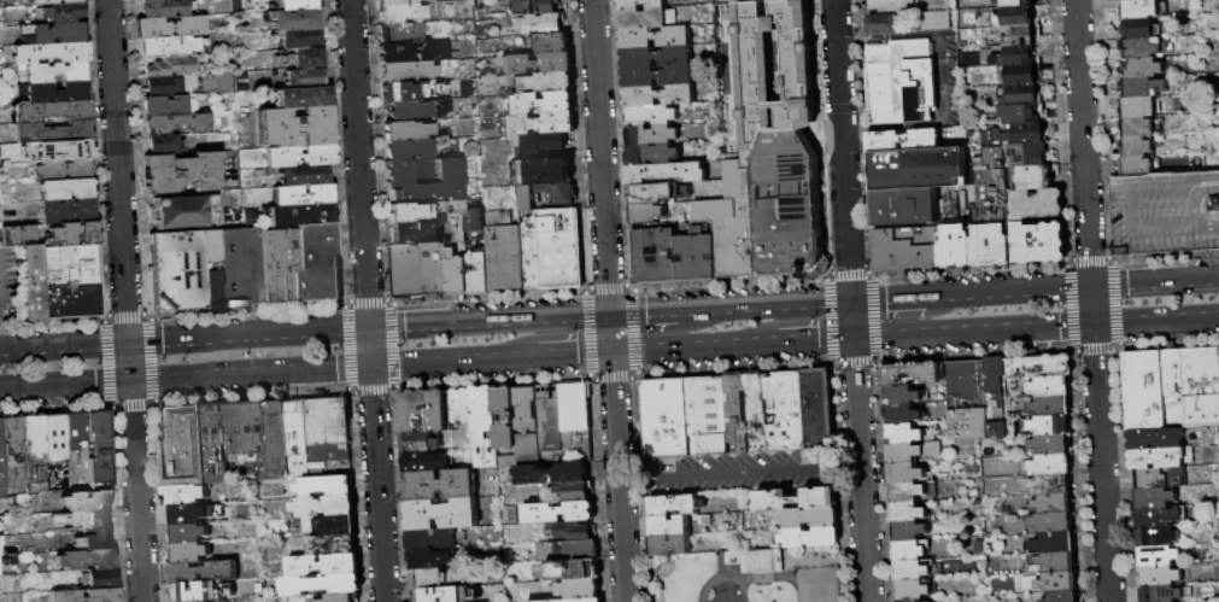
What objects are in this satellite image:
building: (758, 0)
building: (1136, 0)
building: (54, 1)
building: (428, 1)
building: (394, 2)
building: (1012, 2)
building: (640, 4)
building: (295, 5)
building: (890, 6)
building: (164, 7)
building: (532, 7)
building: (1142, 10)
building: (64, 12)
building: (400, 13)
building: (1016, 17)
building: (649, 18)
building: (293, 19)
building: (937, 22)
building: (539, 24)
building: (884, 25)
building: (169, 27)
building: (1147, 29)
building: (55, 33)
building: (400, 33)
building: (1015, 36)
building: (298, 37)
building: (655, 37)
road: (887, 39)
building: (549, 43)
building: (168, 46)
building: (1144, 49)
building: (412, 52)
building: (47, 55)
building: (300, 58)
building: (656, 58)
building: (1014, 58)
building: (537, 64)
building: (169, 66)
building: (770, 68)
building: (1144, 69)
building: (406, 71)
building: (57, 72)
building: (1020, 76)
building: (657, 77)
building: (305, 78)
road: (942, 78)
building: (901, 82)
building: (546, 83)
building: (169, 84)
building: (1144, 88)
building: (58, 92)
building: (409, 92)
building: (1018, 95)
building: (303, 97)
building: (660, 97)
building: (538, 104)
building: (164, 105)
building: (1138, 107)
building: (418, 110)
building: (54, 112)
building: (1022, 115)
building: (651, 116)
building: (175, 124)
building: (537, 124)
building: (294, 127)
building: (1138, 128)
building: (405, 130)
building: (53, 131)
building: (1015, 135)
building: (654, 136)
building: (902, 141)
building: (538, 144)
road: (1082, 144)
building: (163, 145)
building: (1137, 147)
building: (2, 150)
building: (65, 150)
building: (408, 150)
building: (299, 156)
building: (652, 156)
building: (1028, 156)
road: (359, 164)
building: (1138, 166)
building: (65, 170)
building: (919, 170)
road: (117, 171)
building: (181, 173)
building: (539, 173)
building: (299, 174)
building: (666, 174)
building: (424, 179)
building: (1035, 179)
building: (68, 188)
building: (303, 194)
building: (657, 194)
building: (0, 198)
building: (545, 198)
building: (1037, 206)
building: (787, 208)
building: (903, 208)
building: (68, 210)
building: (183, 211)
building: (409, 212)
building: (990, 212)
building: (1166, 214)
building: (301, 215)
building: (646, 215)
building: (473, 221)
building: (455, 222)
building: (731, 224)
building: (416, 233)
building: (75, 234)
building: (20, 235)
building: (953, 238)
building: (1041, 244)
building: (559, 250)
building: (906, 250)
building: (502, 253)
building: (531, 258)
building: (654, 258)
building: (695, 258)
building: (318, 264)
building: (70, 265)
building: (240, 267)
building: (279, 267)
building: (211, 269)
building: (176, 270)
building: (418, 271)
building: (476, 273)
building: (456, 275)
building: (35, 284)
road: (1154, 284)
parking lot: (11, 285)
traffic signals: (1091, 288)
road: (1006, 293)
building: (72, 300)
road: (608, 300)
road: (849, 300)
road: (886, 300)
traffic signals: (850, 302)
road: (1091, 305)
road: (769, 306)
road: (649, 314)
traffic signals: (609, 316)
road: (1155, 320)
road: (488, 322)
traffic signals: (1092, 323)
traffic signals: (369, 329)
road: (972, 331)
road: (247, 337)
traffic signals: (851, 338)
road: (814, 339)
traffic signals: (127, 344)
road: (63, 346)
road: (693, 346)
road: (369, 347)
traffic signals: (611, 351)
road: (574, 353)
road: (128, 361)
road: (453, 361)
traffic signals: (370, 366)
building: (1041, 367)
road: (248, 372)
building: (912, 374)
traffic signals: (129, 379)
road: (64, 382)
building: (1051, 387)
building: (1200, 388)
building: (1173, 390)
building: (1144, 391)
building: (902, 396)
building: (997, 399)
building: (968, 401)
building: (462, 407)
building: (1051, 407)
building: (574, 408)
building: (819, 408)
building: (422, 410)
building: (756, 413)
building: (786, 413)
building: (737, 415)
building: (902, 415)
building: (709, 416)
building: (550, 419)
building: (667, 419)
building: (327, 420)
building: (527, 421)
building: (505, 423)
building: (1051, 426)
building: (484, 427)
building: (74, 428)
building: (245, 431)
building: (903, 434)
building: (12, 436)
building: (297, 438)
building: (1156, 439)
building: (420, 440)
building: (276, 442)
building: (211, 444)
building: (98, 445)
building: (178, 445)
building: (1051, 446)
building: (34, 450)
building: (54, 451)
building: (328, 452)
building: (913, 452)
building: (1, 457)
building: (1161, 458)
building: (423, 461)
road: (1100, 462)
building: (1051, 466)
road: (840, 467)
road: (738, 473)
building: (553, 474)
parking lot: (742, 474)
building: (906, 474)
building: (1160, 479)
road: (635, 481)
road: (376, 483)
building: (440, 485)
building: (1051, 485)
building: (324, 486)
building: (13, 489)
road: (135, 490)
building: (575, 492)
building: (913, 492)
building: (184, 495)
building: (252, 497)
building: (1155, 498)
building: (797, 499)
building: (87, 501)
building: (1053, 504)
building: (674, 505)
building: (323, 507)
building: (556, 513)
building: (908, 513)
building: (188, 514)
building: (440, 514)
building: (1160, 516)
building: (810, 519)
building: (92, 520)
building: (1053, 524)
building: (330, 525)
building: (669, 526)
building: (572, 531)
building: (909, 532)
building: (188, 533)
building: (811, 538)
building: (1158, 538)
building: (93, 539)
building: (434, 539)
building: (1055, 544)
building: (332, 545)
building: (669, 545)
building: (567, 551)
building: (910, 551)
building: (189, 553)
building: (1158, 557)
building: (86, 559)
building: (430, 560)
building: (756, 561)
building: (1050, 562)
building: (322, 565)
building: (569, 571)
building: (914, 571)
building: (200, 572)
road: (780, 575)
building: (1159, 575)
park: (750, 577)
building: (99, 578)
building: (430, 579)
building: (1059, 583)
building: (318, 585)
park: (814, 586)
building: (258, 589)
building: (579, 589)
building: (913, 590)
building: (200, 591)
building: (1161, 594)
building: (86, 595)
building: (443, 595)
building: (1062, 597)
building: (338, 598)
building: (582, 601)
building: (914, 601)

